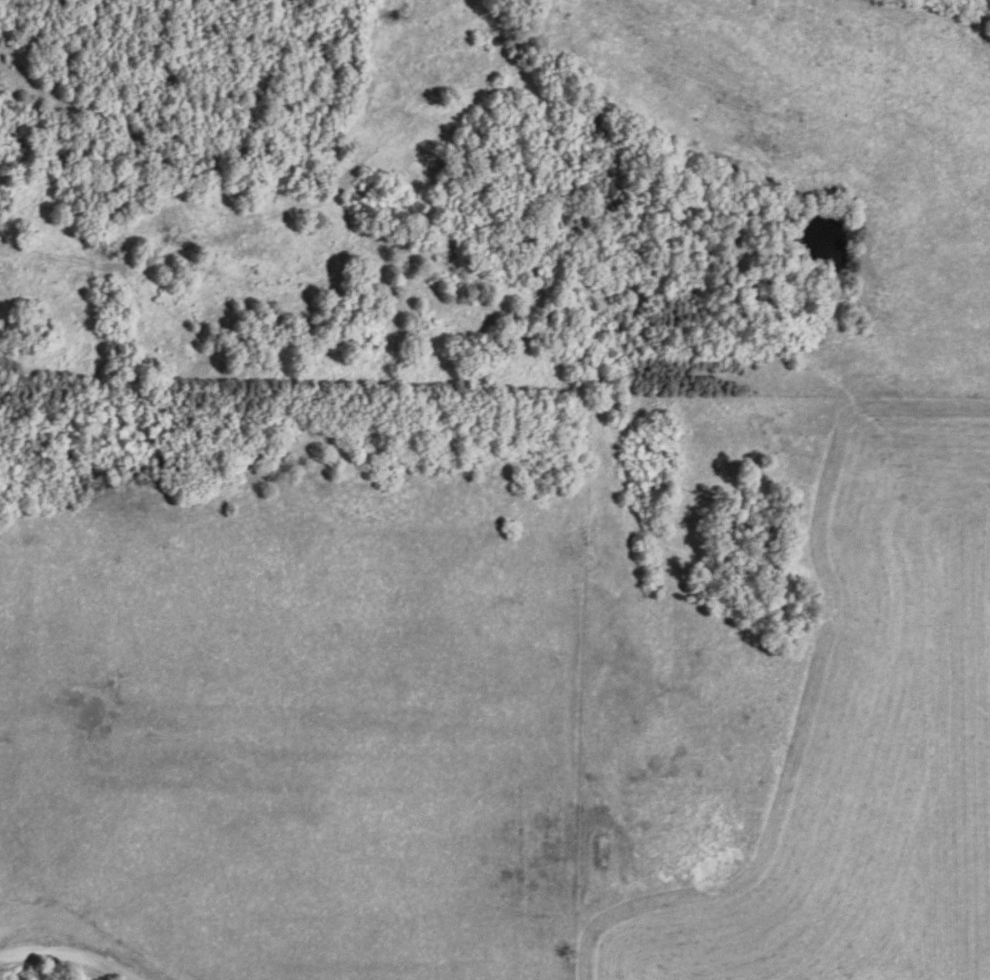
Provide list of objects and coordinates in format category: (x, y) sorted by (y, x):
road: (76, 963)

